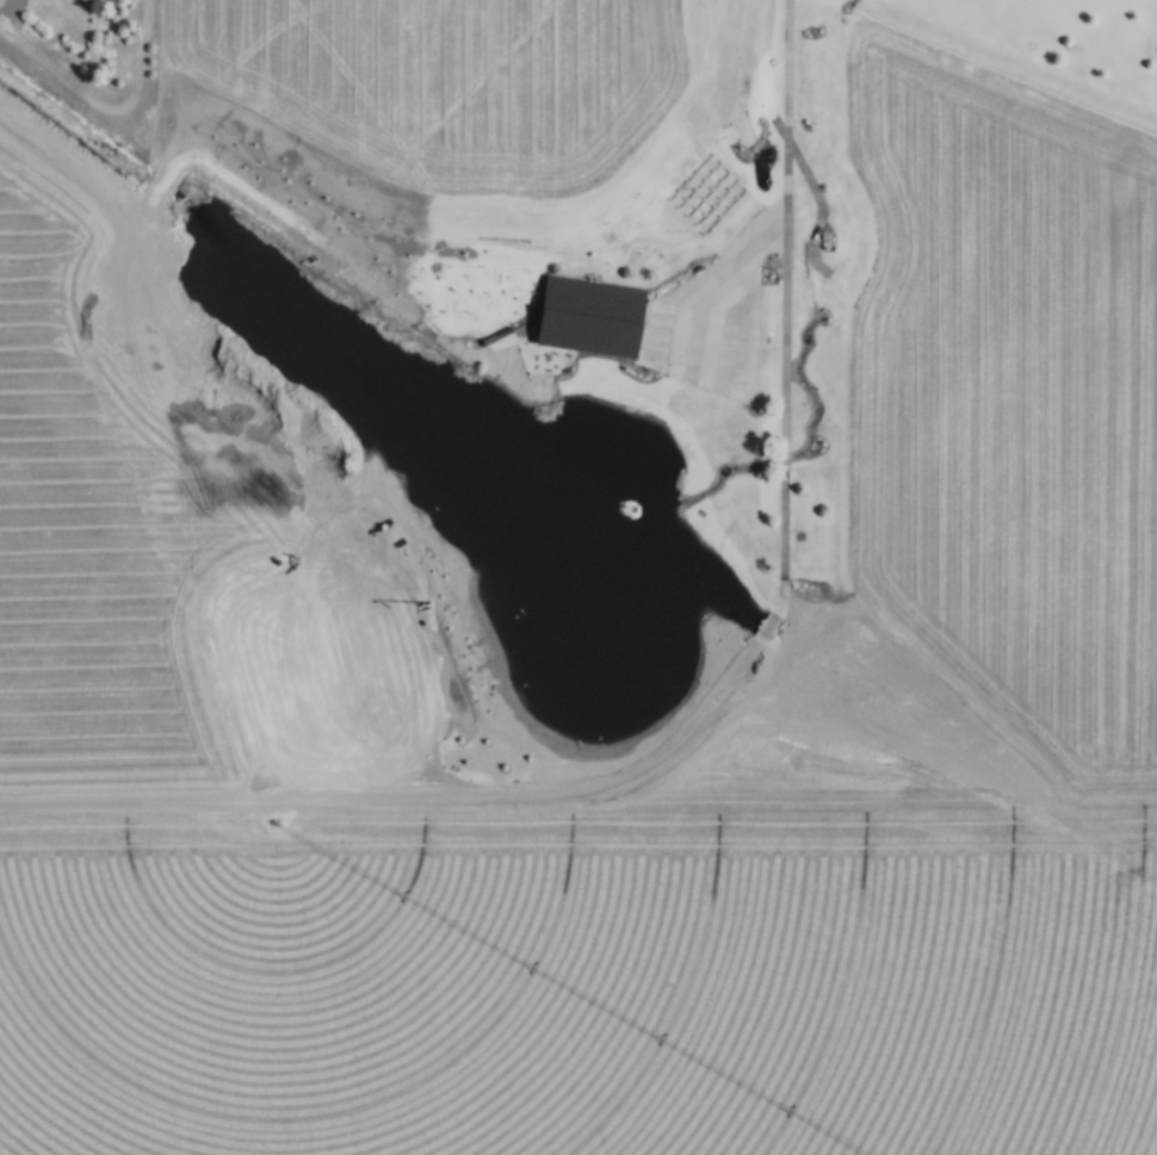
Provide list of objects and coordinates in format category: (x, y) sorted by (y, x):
road: (409, 789)

